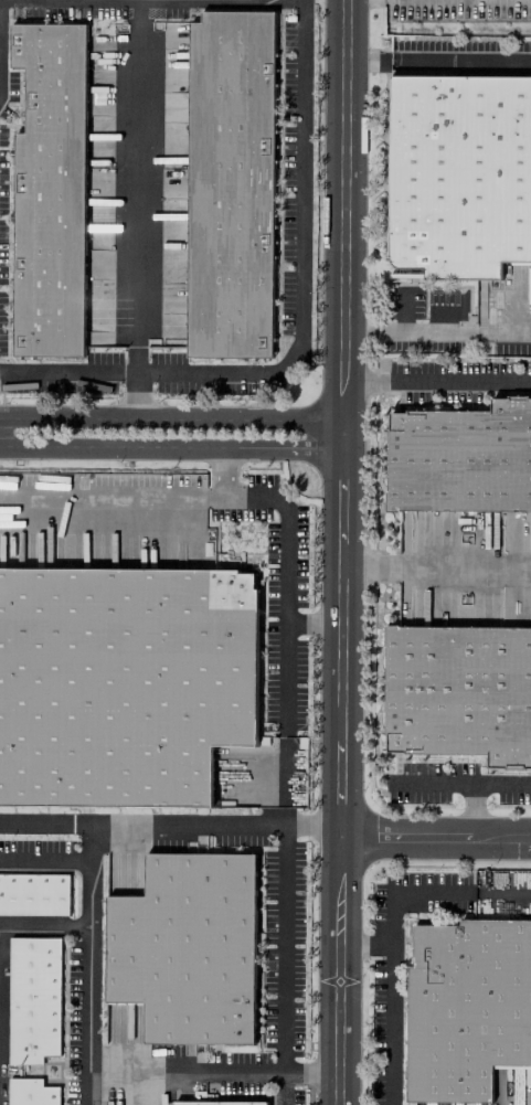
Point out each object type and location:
road: (368, 59)
road: (460, 59)
building: (459, 172)
building: (229, 184)
road: (136, 188)
building: (49, 190)
road: (344, 190)
road: (301, 261)
road: (434, 309)
road: (403, 310)
road: (362, 330)
road: (427, 330)
road: (502, 330)
road: (67, 373)
road: (365, 380)
road: (459, 380)
road: (136, 396)
road: (343, 405)
road: (67, 417)
road: (241, 417)
road: (68, 447)
road: (242, 447)
building: (460, 457)
road: (222, 470)
road: (102, 492)
road: (213, 493)
road: (370, 569)
road: (465, 569)
road: (285, 588)
road: (312, 624)
building: (123, 682)
building: (459, 691)
road: (338, 767)
road: (284, 780)
road: (432, 782)
road: (501, 783)
road: (474, 809)
road: (141, 822)
road: (311, 825)
road: (405, 837)
road: (502, 838)
road: (405, 892)
road: (501, 892)
building: (33, 894)
road: (44, 925)
road: (87, 937)
road: (363, 944)
building: (185, 948)
road: (283, 965)
building: (33, 1000)
building: (467, 1007)
road: (389, 1024)
road: (147, 1072)
road: (244, 1072)
road: (309, 1073)
building: (31, 1092)
building: (219, 1103)

